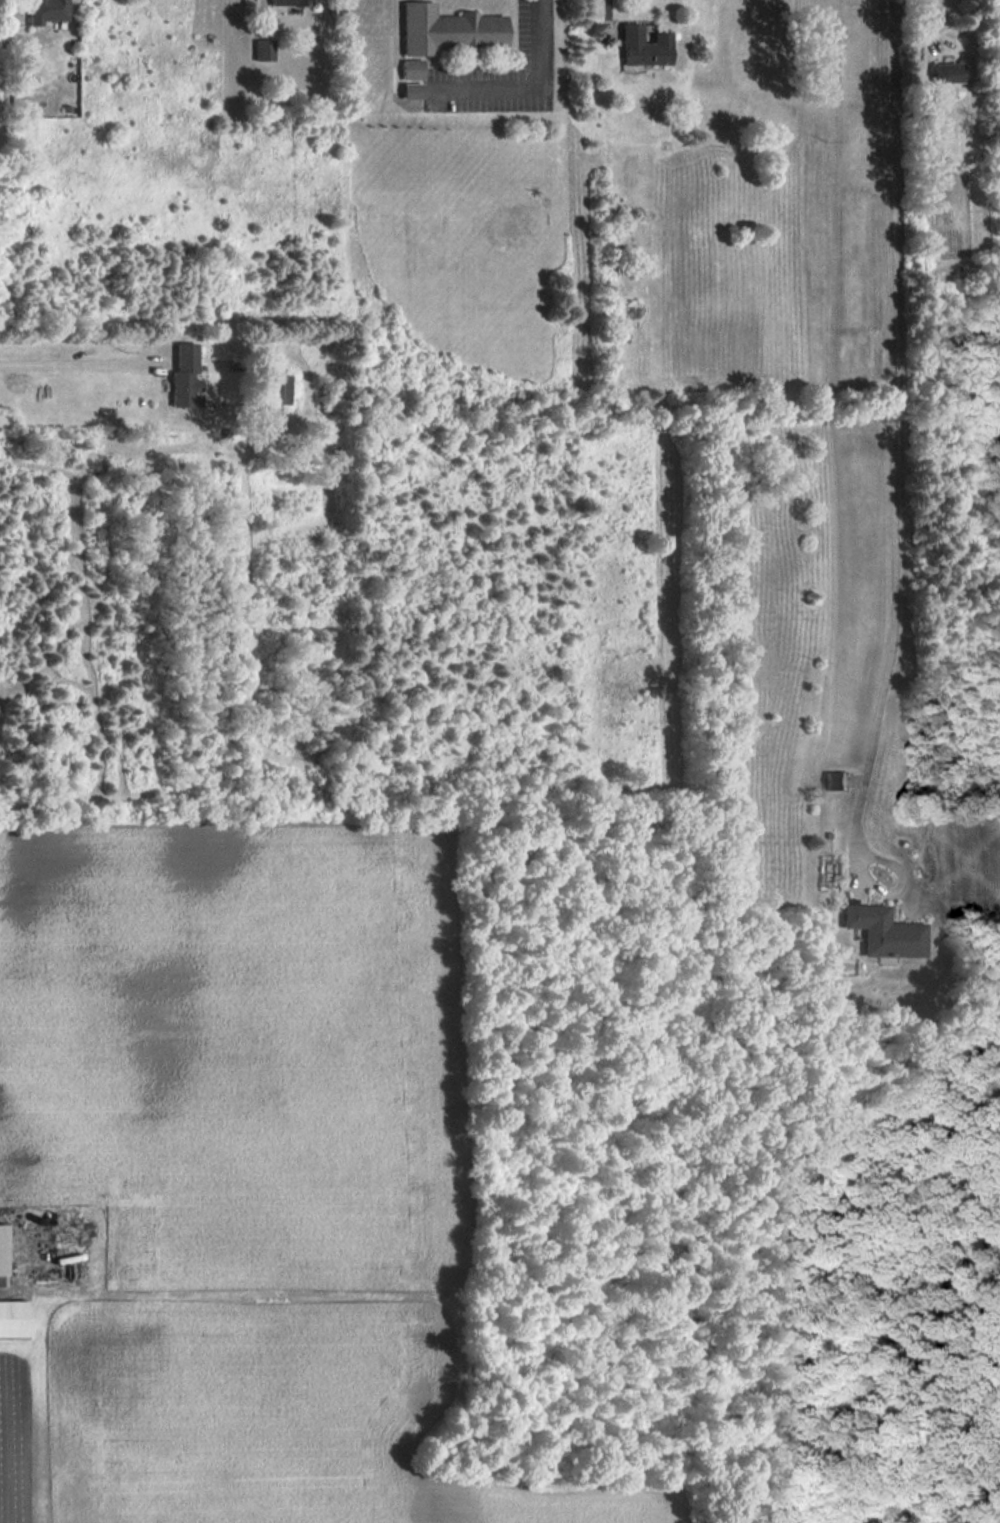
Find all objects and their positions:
building: (291, 2)
building: (47, 11)
road: (923, 11)
road: (605, 15)
building: (448, 30)
building: (645, 47)
building: (264, 49)
building: (947, 72)
building: (412, 79)
road: (524, 88)
road: (66, 362)
building: (186, 377)
building: (277, 389)
road: (890, 443)
building: (835, 780)
building: (884, 932)
building: (3, 1252)
building: (14, 1318)

